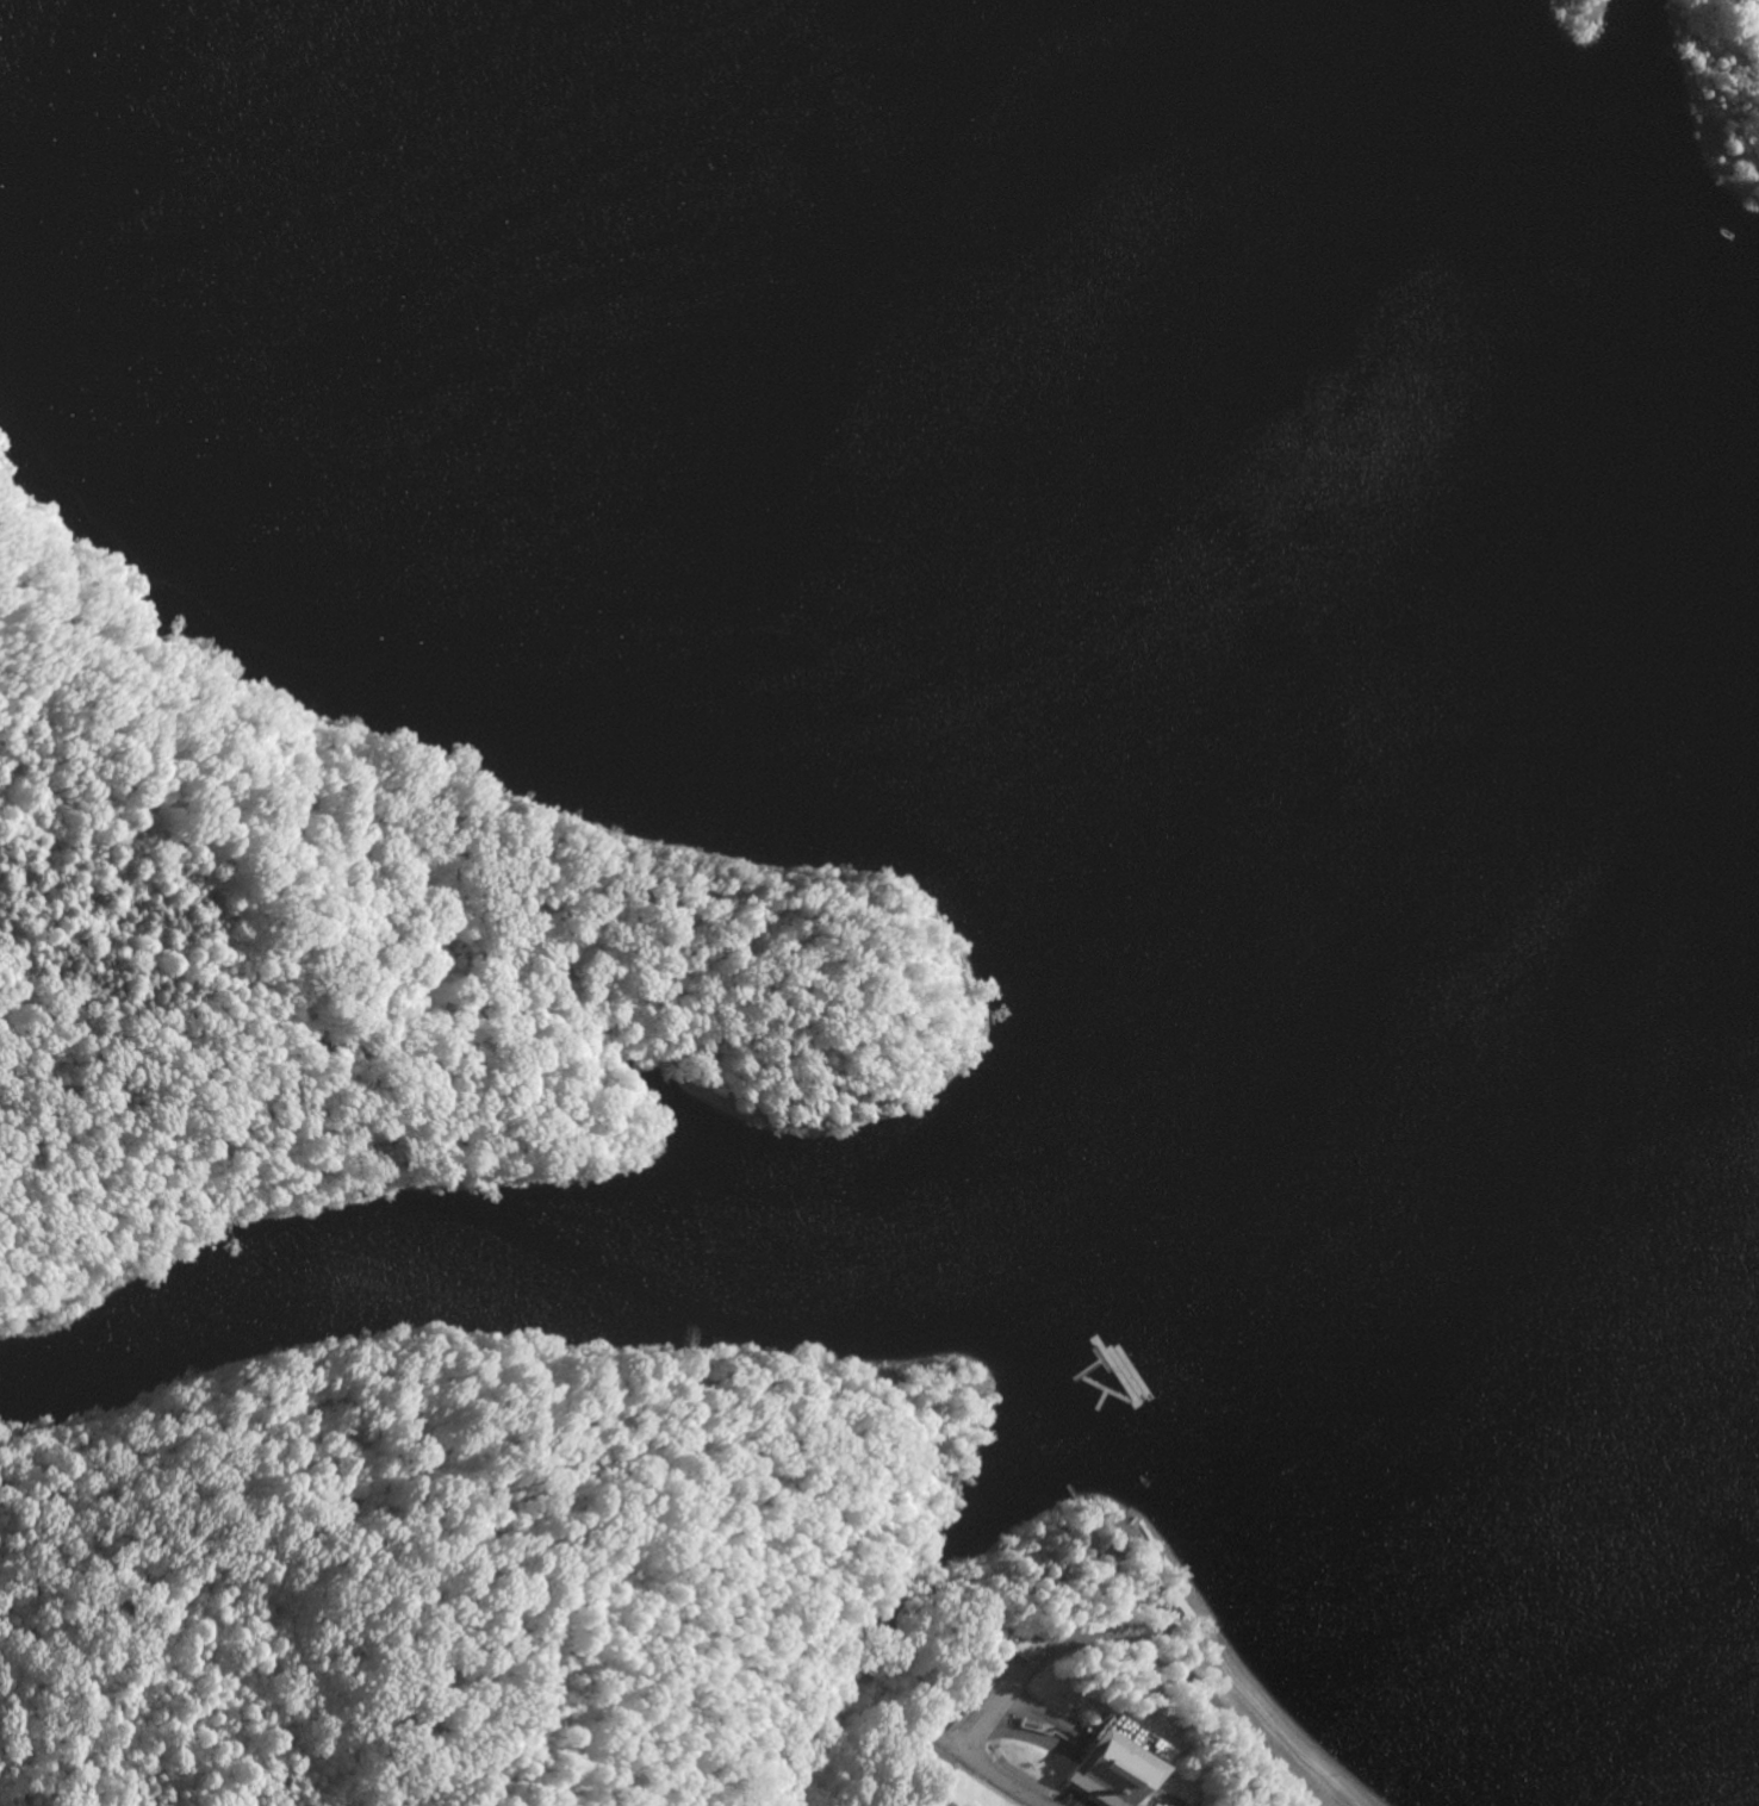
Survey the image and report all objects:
park: (372, 958)
park: (597, 1599)
road: (1001, 1770)
building: (1110, 1770)
building: (951, 1805)

